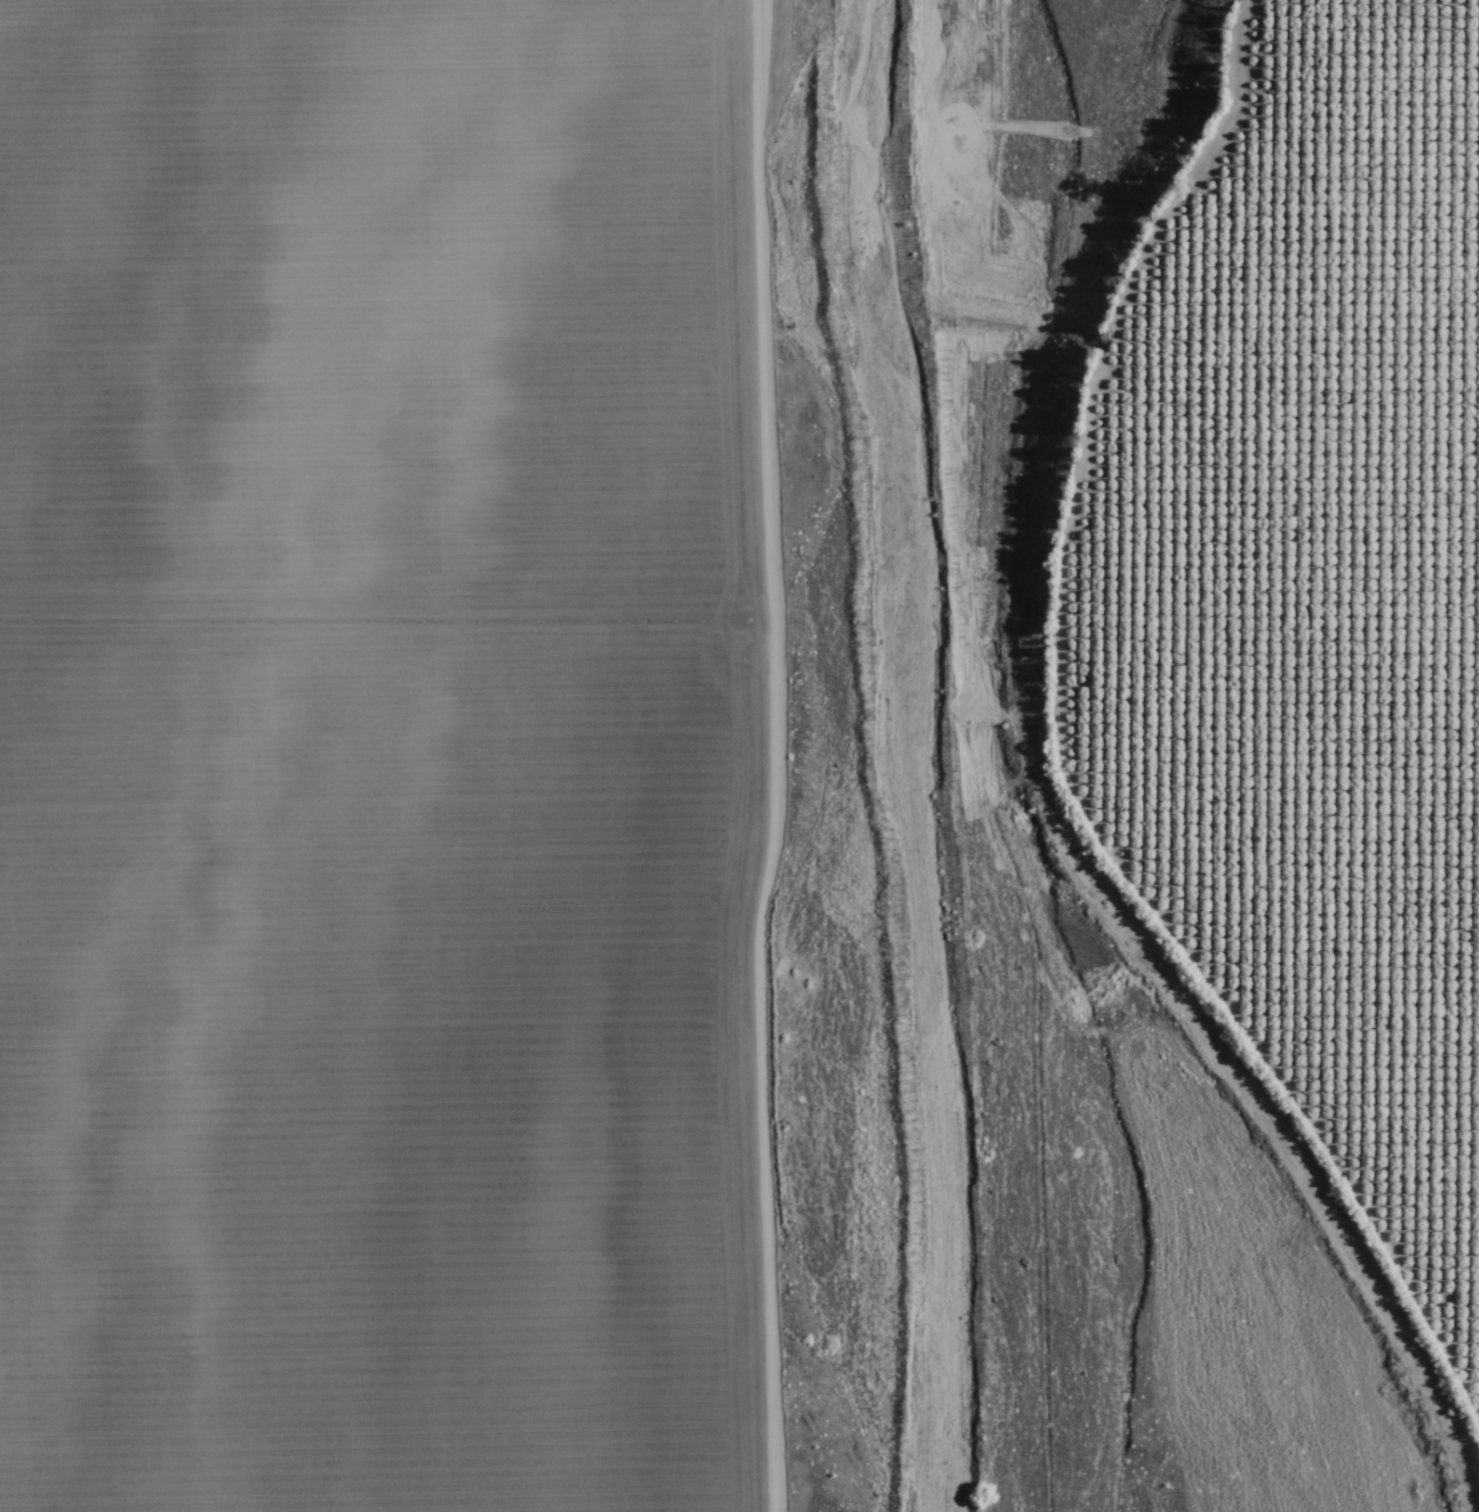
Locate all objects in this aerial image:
building: (1255, 35)
building: (1373, 236)
building: (1353, 244)
building: (1354, 289)
building: (1391, 368)
crop: (1290, 605)
building: (1324, 616)
crop: (385, 753)
road: (982, 816)
road: (902, 1141)
wastewater plant: (1098, 1486)

